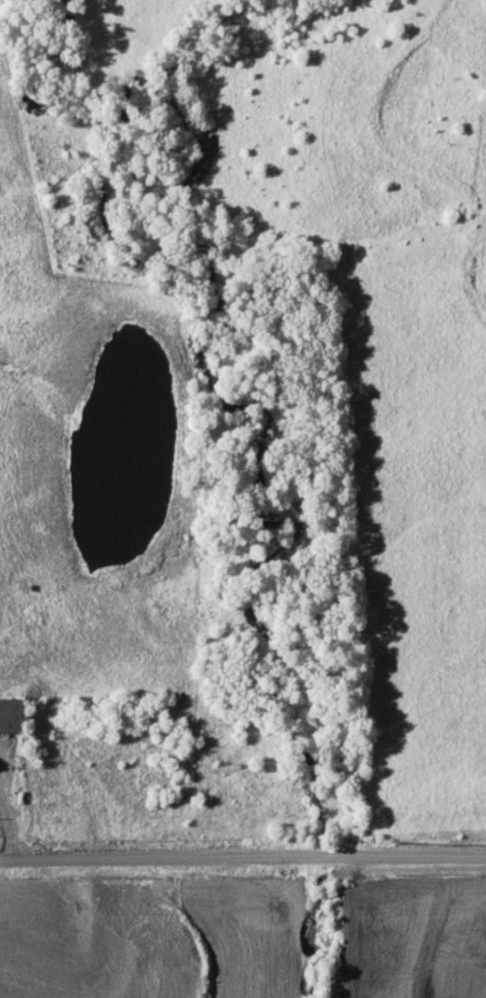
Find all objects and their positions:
building: (11, 716)
road: (242, 855)

